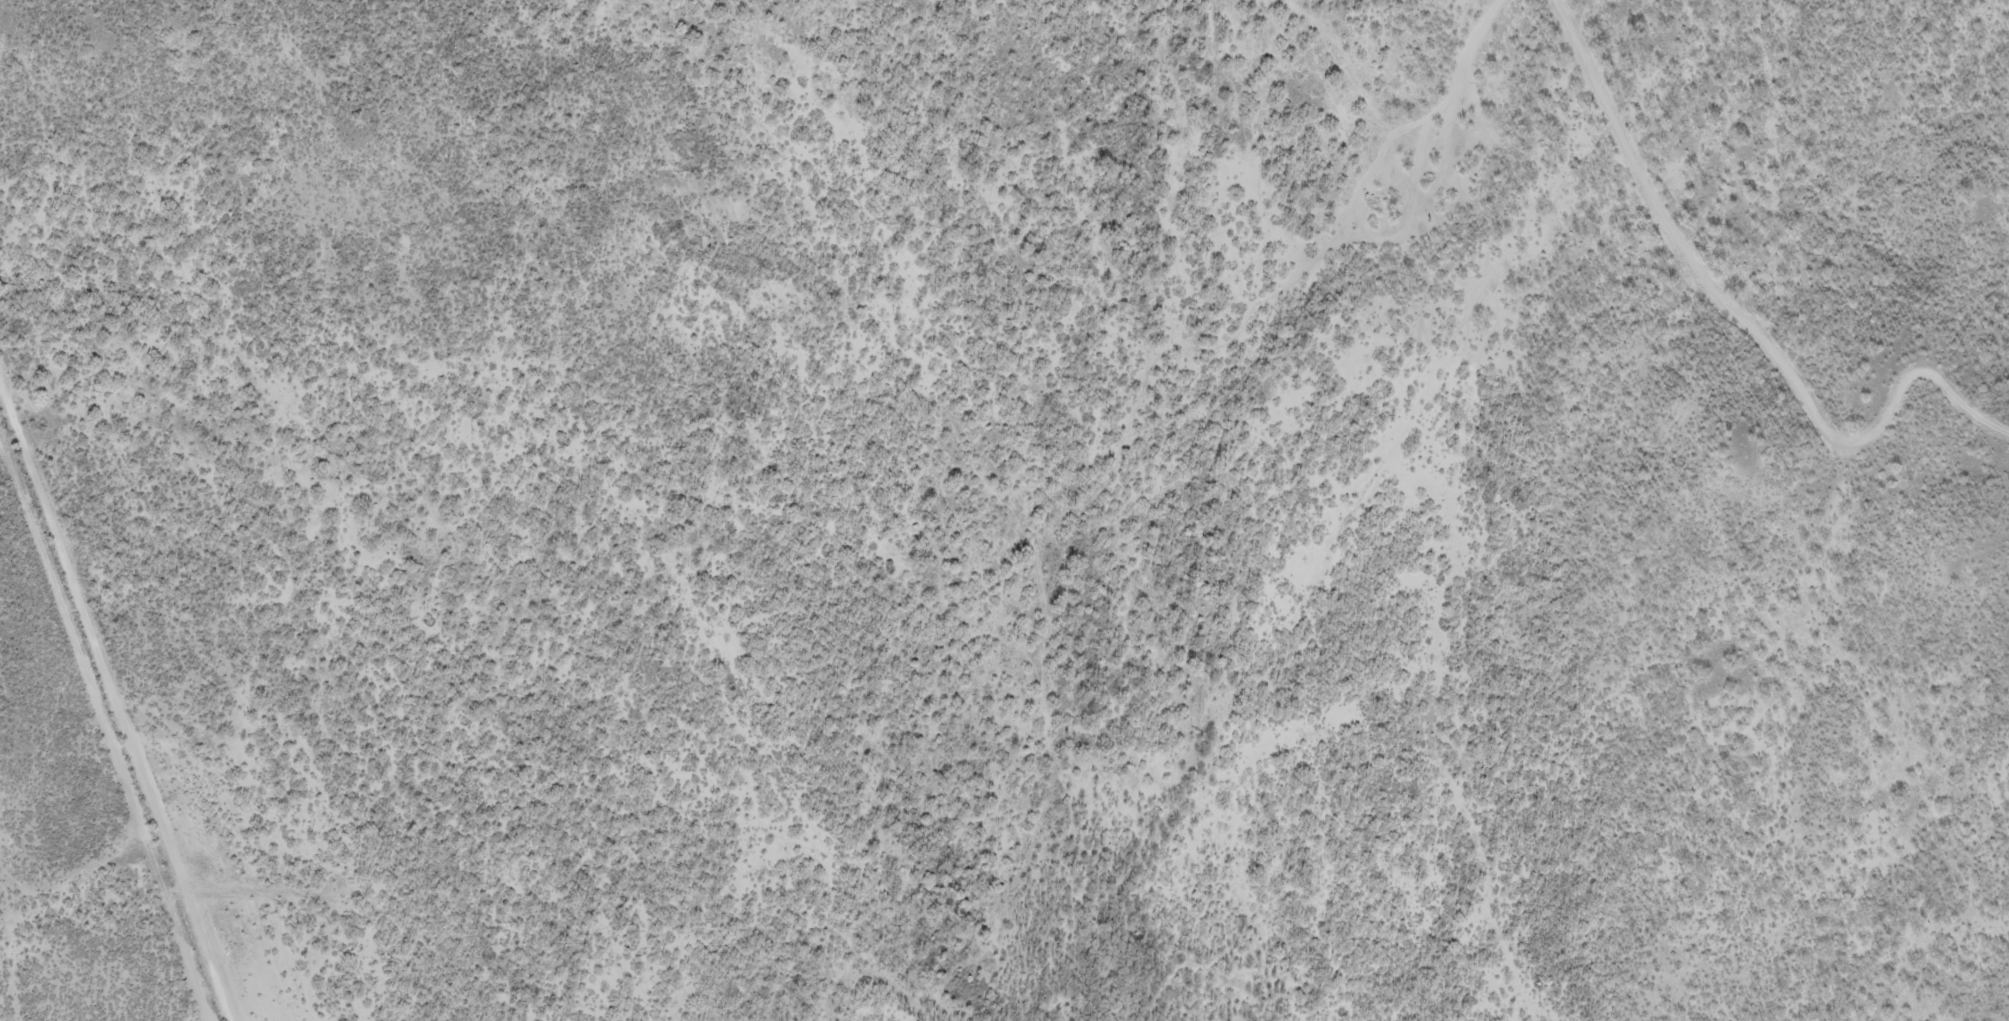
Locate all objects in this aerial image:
road: (114, 716)

